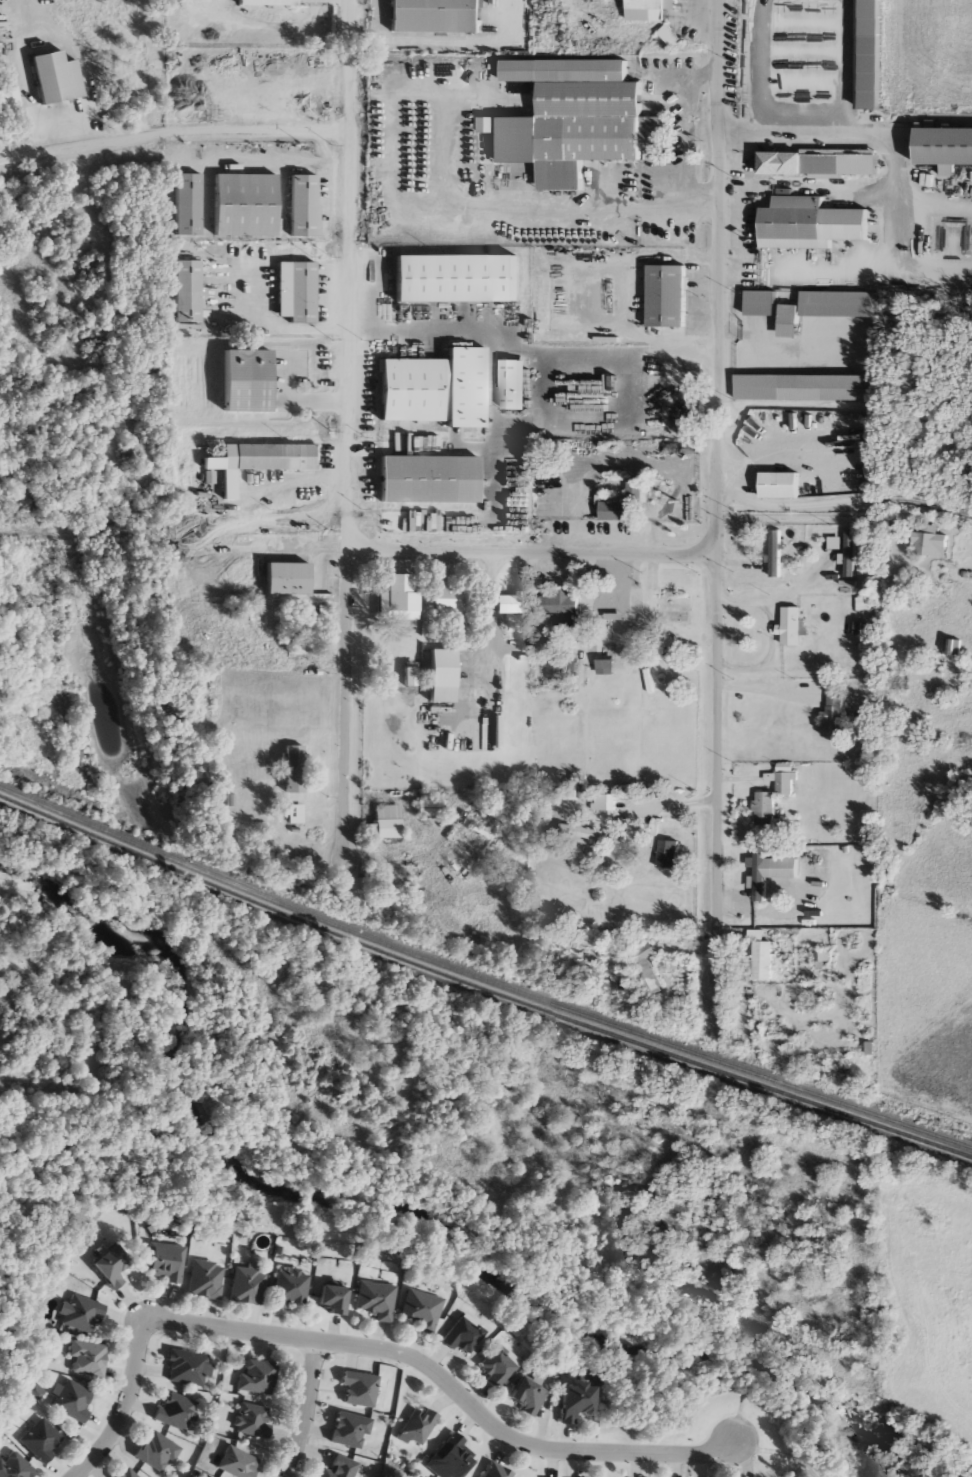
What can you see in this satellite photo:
building: (261, 3)
building: (642, 8)
building: (429, 16)
building: (666, 38)
building: (862, 55)
road: (764, 66)
building: (48, 79)
road: (842, 103)
building: (566, 119)
road: (170, 126)
road: (741, 132)
road: (678, 138)
building: (940, 147)
road: (270, 158)
building: (814, 164)
road: (395, 204)
building: (182, 205)
building: (239, 206)
building: (297, 206)
building: (787, 224)
building: (450, 279)
building: (290, 292)
building: (179, 293)
building: (660, 297)
building: (755, 304)
building: (821, 309)
road: (258, 327)
building: (235, 382)
building: (507, 386)
building: (797, 389)
building: (429, 390)
road: (291, 402)
road: (343, 430)
building: (261, 458)
building: (421, 481)
building: (774, 486)
road: (715, 490)
road: (841, 501)
building: (619, 506)
building: (926, 545)
road: (531, 551)
building: (845, 554)
building: (772, 555)
building: (278, 580)
road: (778, 598)
building: (441, 603)
building: (506, 603)
building: (555, 603)
building: (670, 606)
building: (605, 607)
building: (397, 616)
building: (786, 627)
road: (484, 633)
building: (294, 640)
building: (556, 668)
building: (601, 668)
building: (433, 678)
road: (768, 688)
building: (830, 715)
building: (286, 769)
building: (781, 780)
building: (601, 802)
building: (422, 808)
building: (760, 809)
building: (288, 813)
building: (378, 821)
building: (662, 853)
building: (756, 878)
building: (756, 957)
building: (641, 970)
railway: (481, 980)
railway: (481, 989)
building: (159, 1262)
building: (103, 1267)
building: (199, 1279)
building: (240, 1286)
building: (284, 1288)
building: (323, 1300)
building: (369, 1300)
building: (415, 1310)
building: (76, 1313)
building: (457, 1336)
building: (82, 1360)
building: (493, 1367)
building: (183, 1369)
building: (255, 1377)
road: (446, 1382)
building: (355, 1389)
building: (519, 1396)
building: (65, 1401)
building: (567, 1403)
road: (122, 1408)
road: (304, 1409)
building: (171, 1412)
building: (249, 1422)
building: (417, 1425)
building: (345, 1430)
building: (35, 1441)
building: (153, 1452)
building: (452, 1458)
building: (233, 1464)
building: (11, 1466)
building: (336, 1468)
building: (122, 1473)

